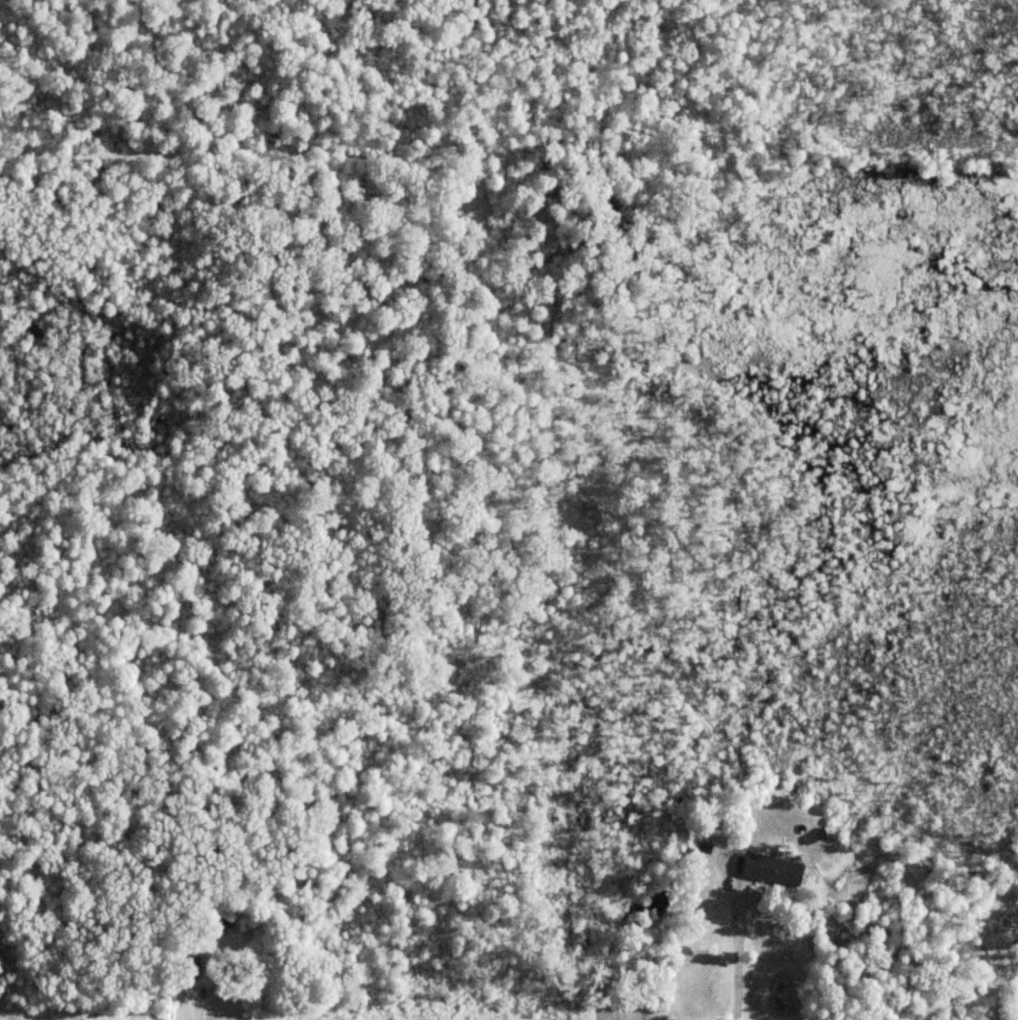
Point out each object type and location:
building: (769, 870)
building: (186, 966)
road: (735, 967)

